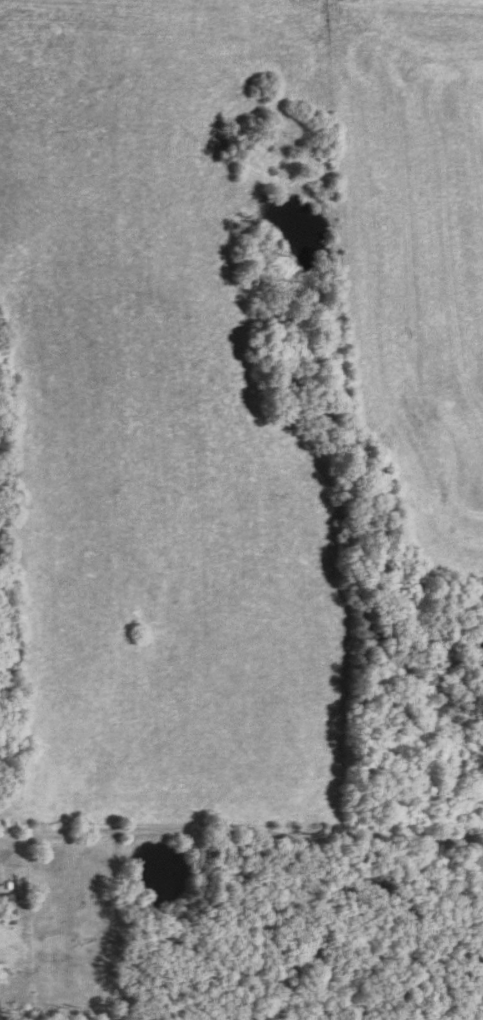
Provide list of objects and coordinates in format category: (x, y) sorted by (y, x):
building: (6, 905)

